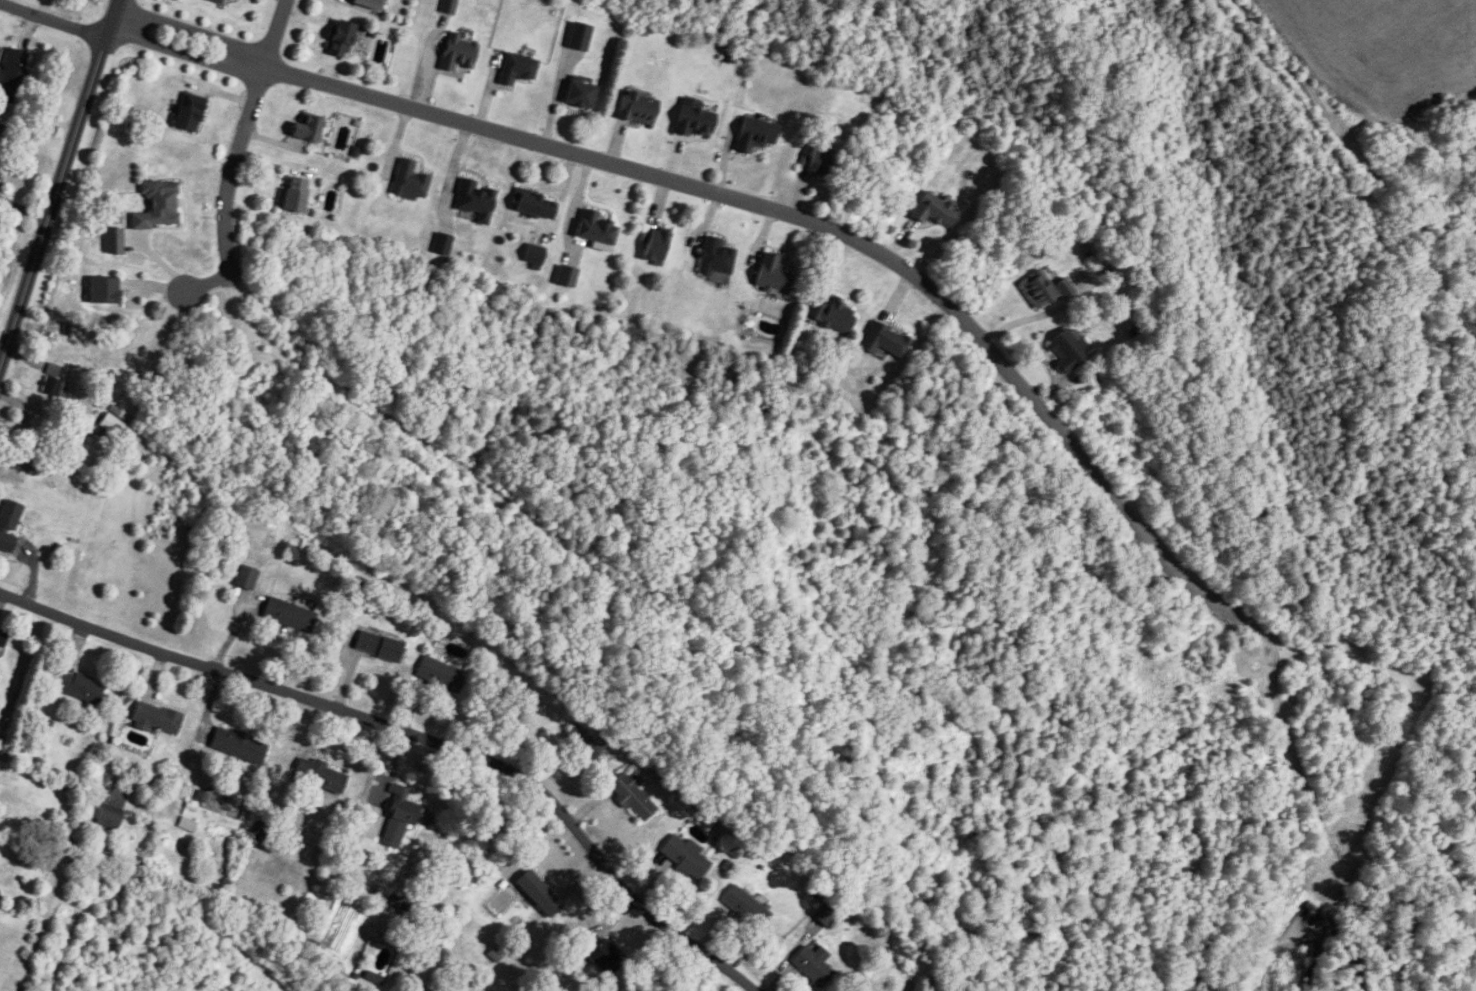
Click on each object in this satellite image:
building: (215, 0)
building: (447, 6)
road: (52, 22)
road: (192, 31)
road: (275, 34)
building: (578, 35)
building: (340, 38)
building: (456, 52)
road: (183, 53)
building: (516, 68)
building: (12, 74)
building: (578, 93)
building: (636, 106)
building: (188, 111)
building: (692, 121)
building: (306, 130)
building: (2, 133)
building: (753, 134)
road: (59, 170)
road: (231, 176)
building: (408, 181)
building: (292, 195)
building: (475, 200)
building: (533, 205)
building: (157, 206)
building: (933, 210)
building: (595, 228)
road: (829, 228)
building: (113, 241)
building: (441, 244)
building: (532, 254)
building: (714, 258)
building: (772, 275)
building: (565, 276)
road: (208, 284)
building: (1044, 289)
building: (832, 315)
road: (1029, 315)
building: (883, 340)
building: (1067, 349)
building: (52, 386)
building: (114, 421)
building: (43, 425)
building: (27, 463)
building: (9, 515)
building: (62, 550)
building: (245, 578)
building: (288, 615)
building: (2, 638)
building: (377, 646)
building: (439, 675)
building: (78, 686)
building: (156, 718)
road: (412, 738)
building: (582, 742)
building: (237, 745)
building: (319, 775)
building: (631, 795)
building: (108, 817)
building: (397, 818)
building: (186, 824)
building: (260, 831)
building: (684, 856)
building: (539, 894)
building: (745, 907)
building: (825, 916)
building: (601, 954)
building: (812, 964)

